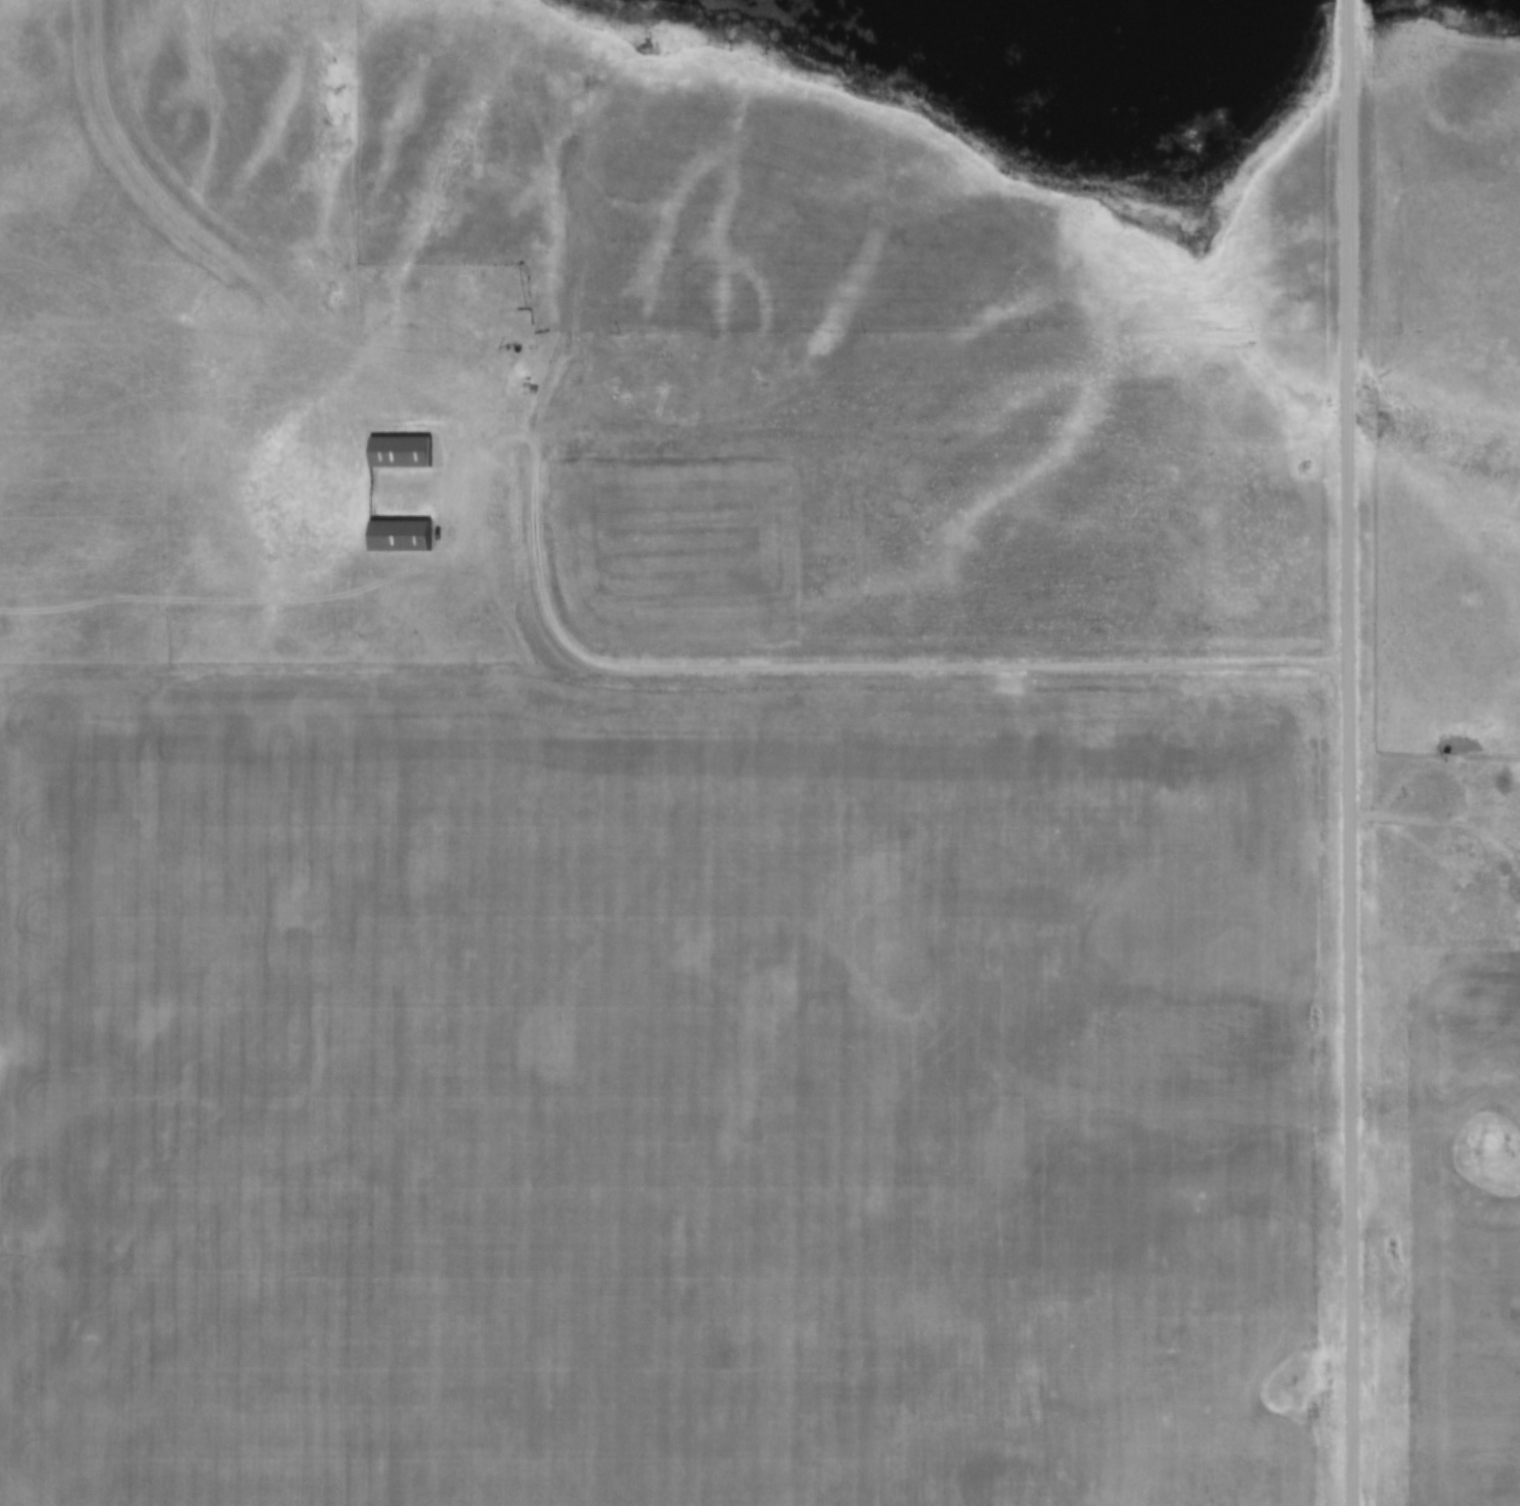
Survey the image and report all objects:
building: (317, 261)
building: (469, 274)
road: (211, 307)
building: (470, 320)
building: (627, 391)
building: (682, 392)
building: (398, 452)
building: (398, 536)
road: (843, 671)
road: (1349, 753)
road: (1435, 825)
building: (1461, 850)

